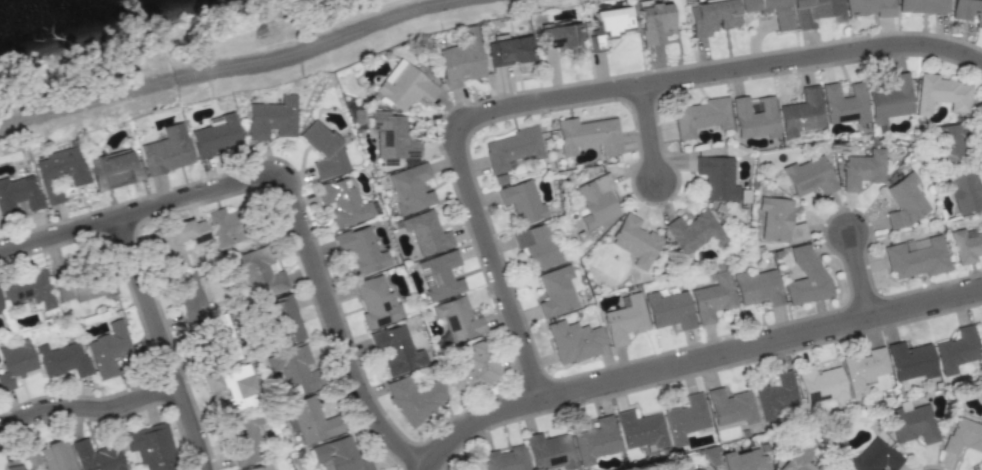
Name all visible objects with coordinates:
building: (921, 6)
building: (869, 7)
building: (968, 11)
building: (816, 12)
building: (712, 16)
building: (782, 21)
building: (655, 22)
building: (609, 23)
building: (561, 35)
building: (509, 51)
building: (460, 60)
road: (224, 67)
building: (405, 86)
building: (941, 93)
road: (572, 95)
building: (891, 99)
building: (844, 103)
building: (801, 113)
building: (700, 116)
building: (754, 117)
building: (272, 118)
road: (650, 132)
building: (588, 135)
building: (393, 136)
building: (216, 137)
building: (956, 140)
building: (324, 150)
building: (167, 151)
building: (511, 151)
building: (861, 169)
building: (114, 170)
building: (60, 172)
building: (809, 176)
building: (717, 178)
building: (410, 188)
road: (289, 191)
building: (965, 191)
building: (19, 193)
building: (343, 201)
building: (522, 201)
building: (596, 201)
building: (905, 201)
building: (778, 221)
building: (981, 223)
building: (225, 227)
building: (695, 231)
building: (426, 232)
building: (177, 241)
building: (635, 241)
building: (966, 245)
building: (538, 246)
building: (361, 252)
building: (916, 257)
building: (260, 272)
road: (862, 274)
building: (440, 275)
building: (805, 275)
building: (85, 286)
building: (757, 287)
building: (29, 289)
building: (556, 291)
building: (192, 298)
building: (713, 298)
building: (376, 302)
building: (669, 310)
building: (287, 318)
building: (457, 318)
building: (624, 320)
building: (224, 338)
building: (573, 340)
road: (164, 343)
building: (108, 349)
building: (396, 350)
building: (956, 350)
building: (62, 359)
road: (695, 361)
building: (910, 361)
building: (15, 363)
building: (472, 368)
building: (295, 369)
building: (863, 369)
building: (213, 381)
building: (820, 384)
building: (245, 386)
building: (774, 395)
building: (414, 398)
building: (729, 407)
road: (89, 409)
building: (685, 418)
building: (311, 420)
building: (912, 423)
building: (640, 429)
building: (964, 436)
building: (595, 440)
building: (246, 441)
building: (151, 446)
building: (548, 451)
building: (55, 455)
building: (340, 455)
building: (799, 455)
building: (96, 456)
building: (874, 456)
building: (504, 459)
building: (737, 459)
building: (14, 467)
building: (261, 467)
building: (695, 469)
building: (981, 469)

